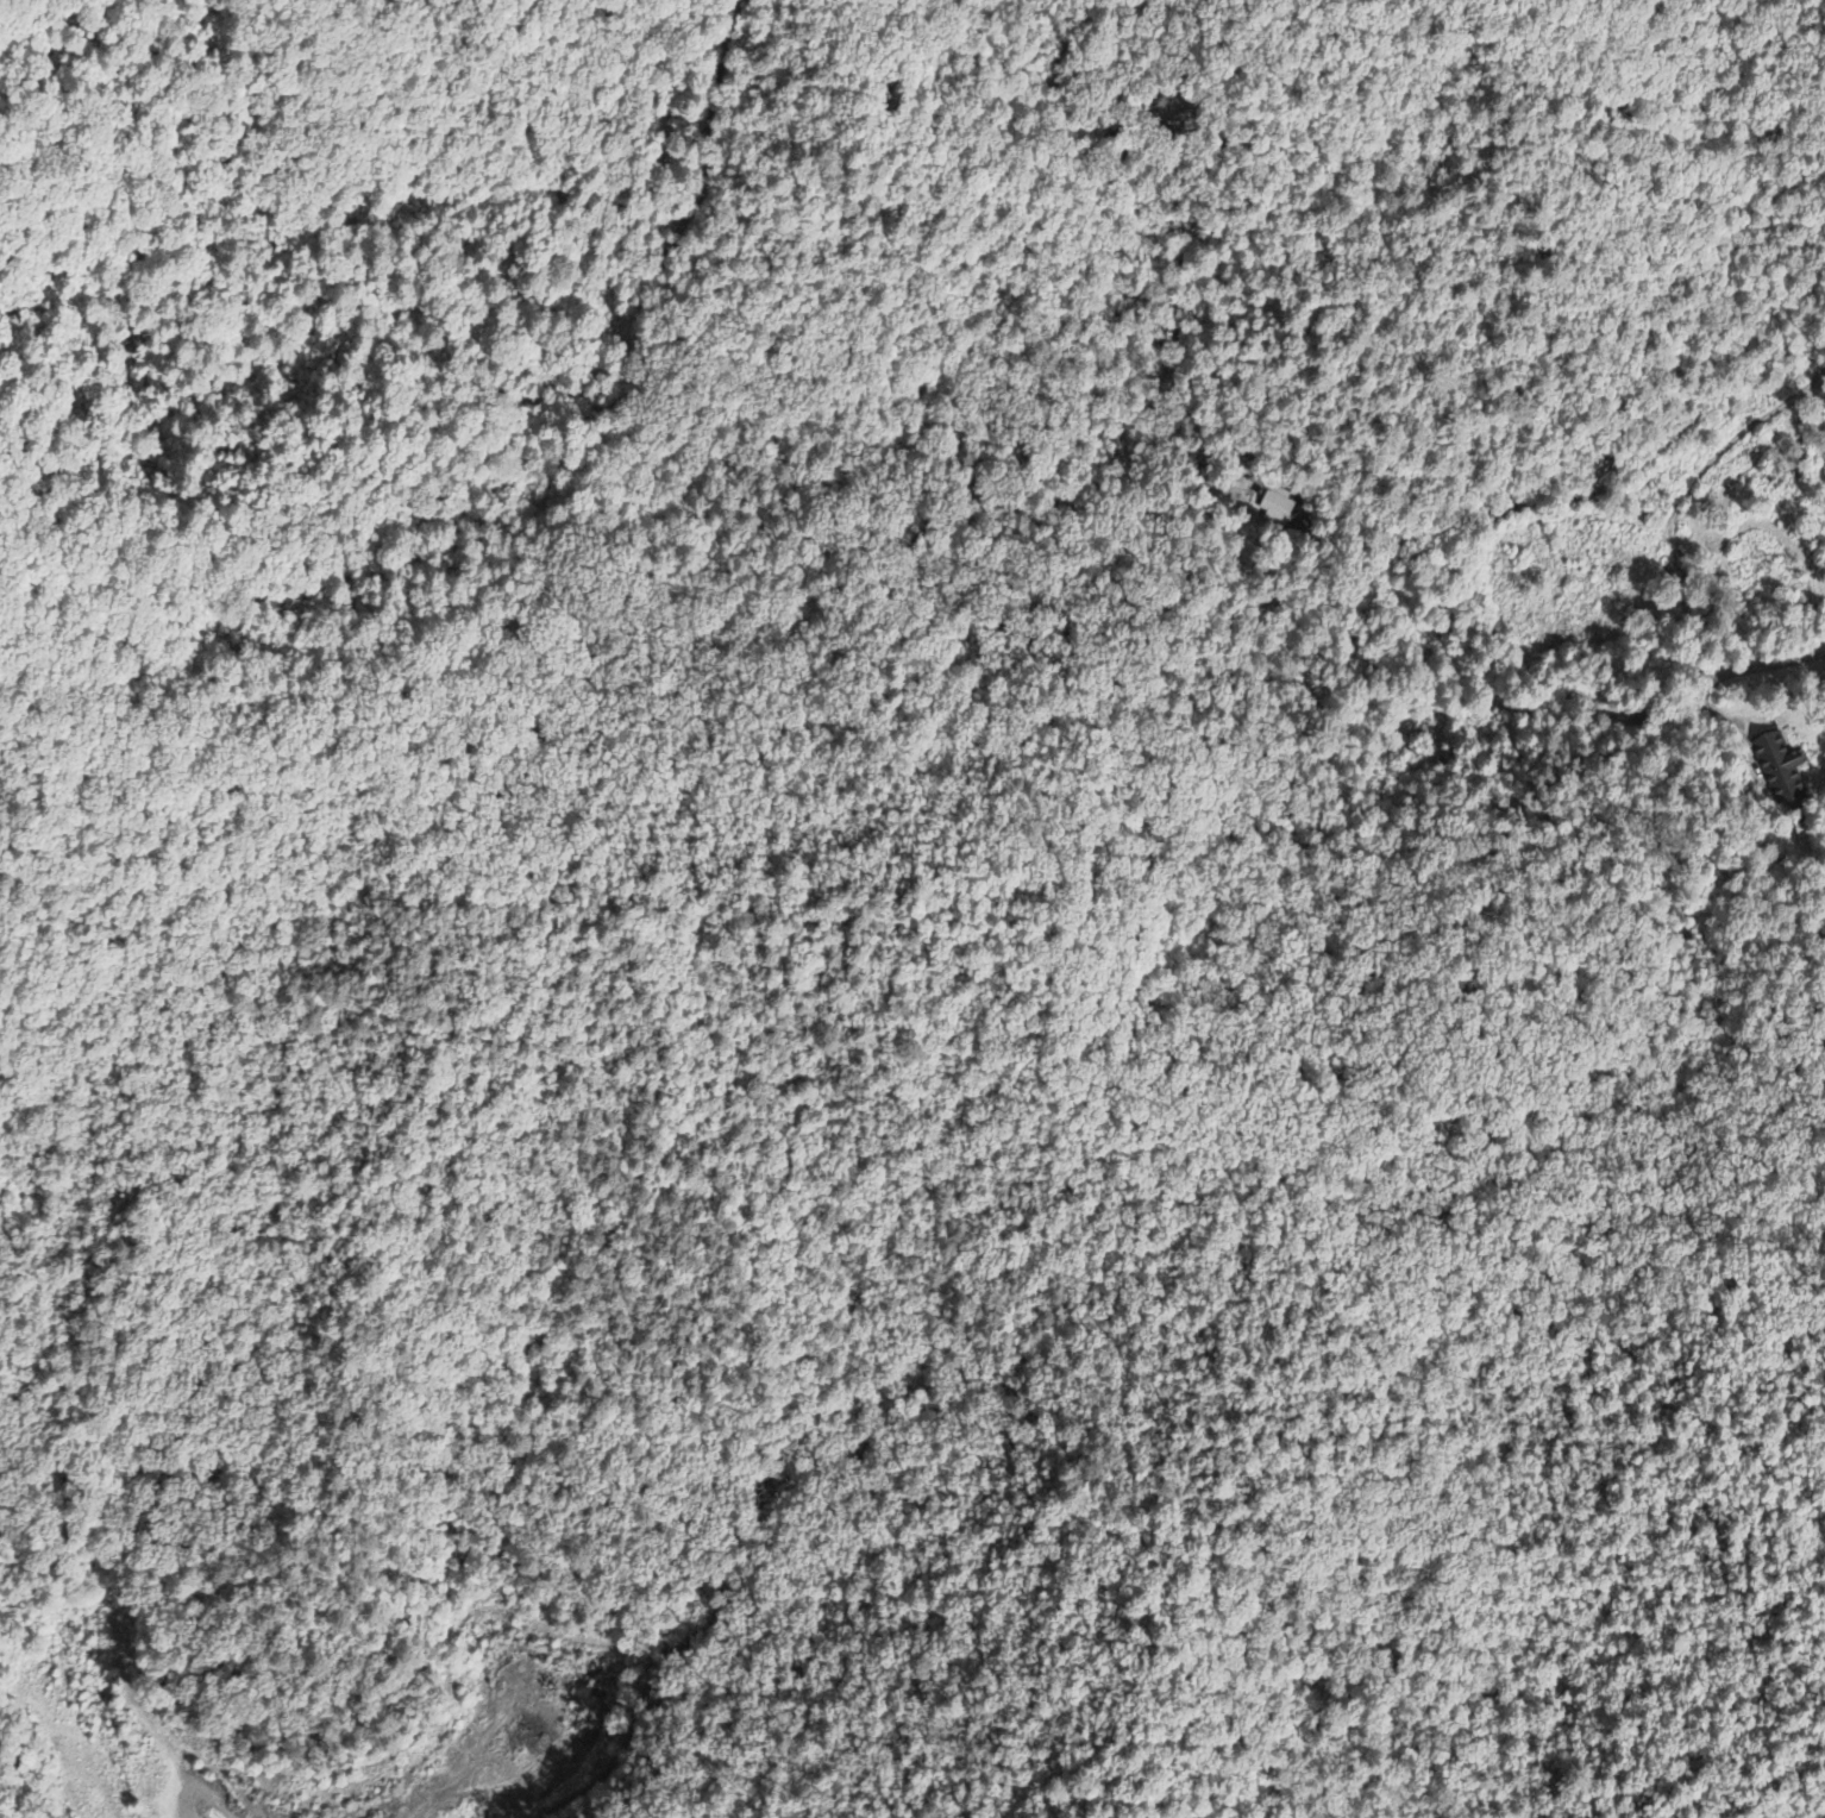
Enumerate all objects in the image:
road: (1585, 508)
building: (1777, 766)

